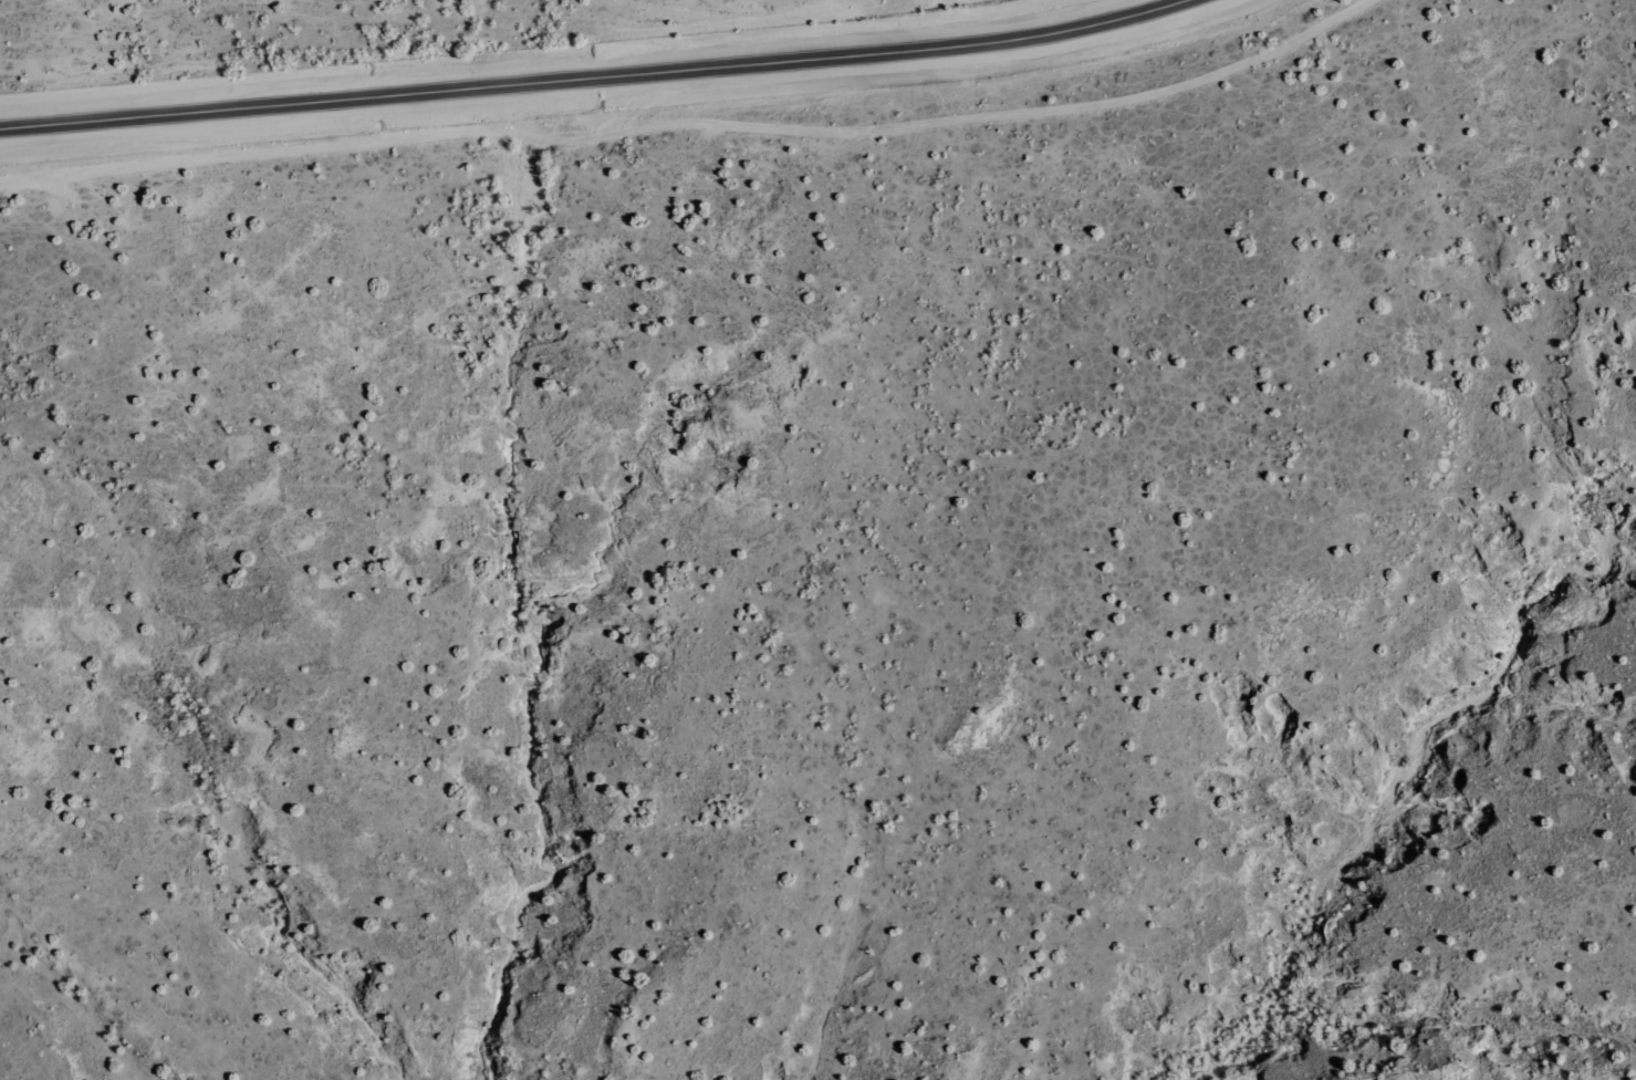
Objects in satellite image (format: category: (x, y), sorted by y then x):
road: (574, 80)
road: (713, 166)

